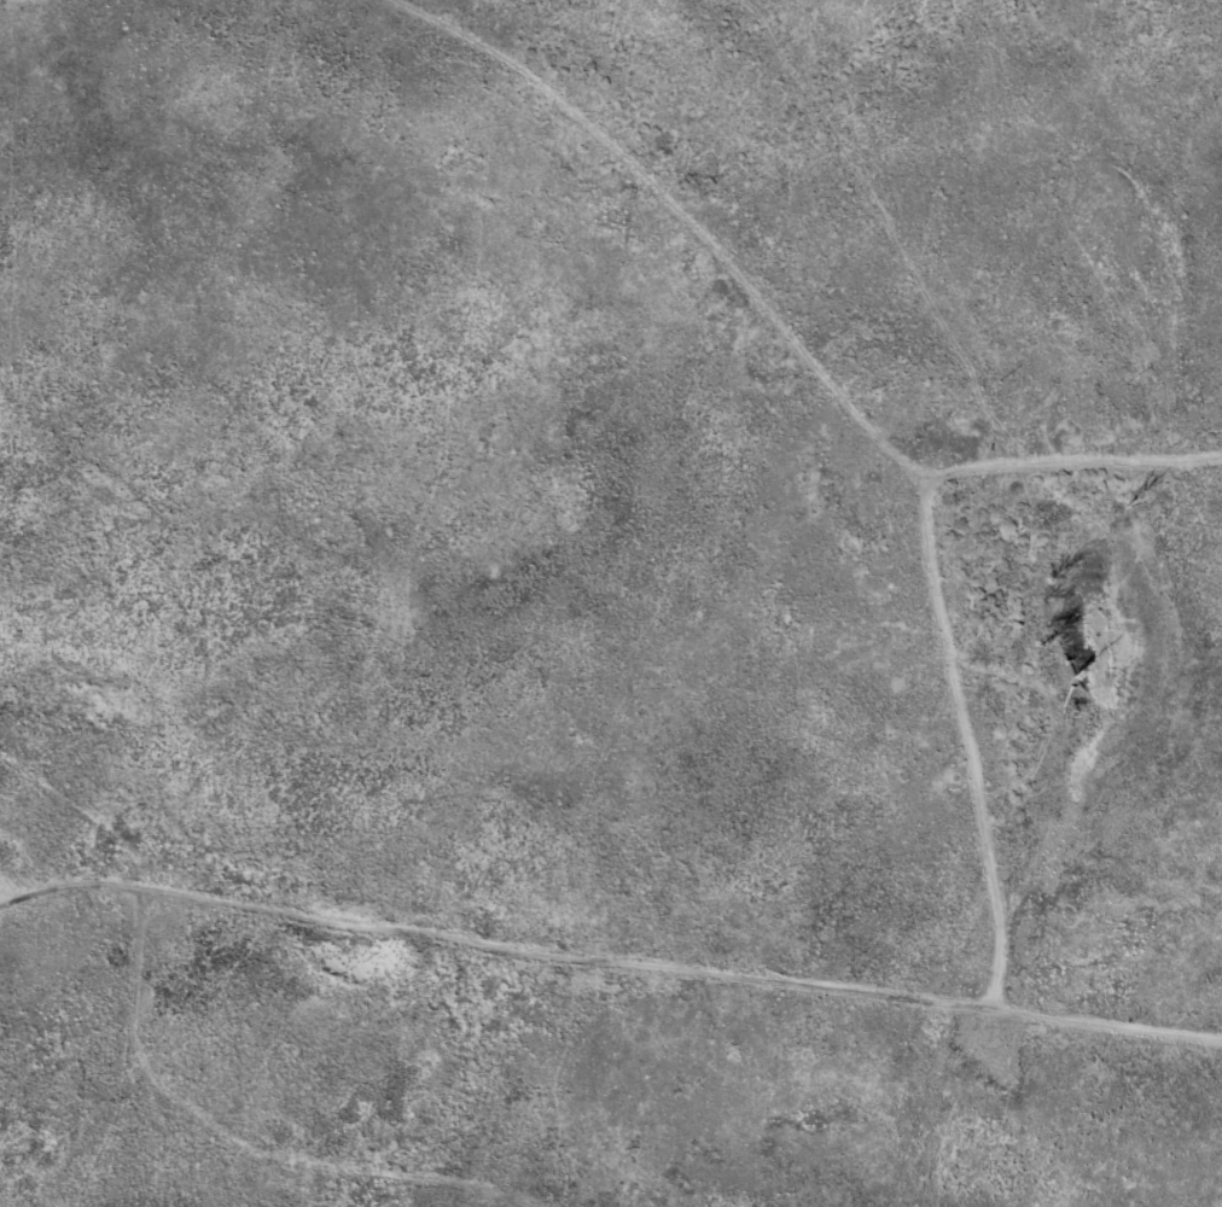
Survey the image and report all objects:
road: (607, 962)

